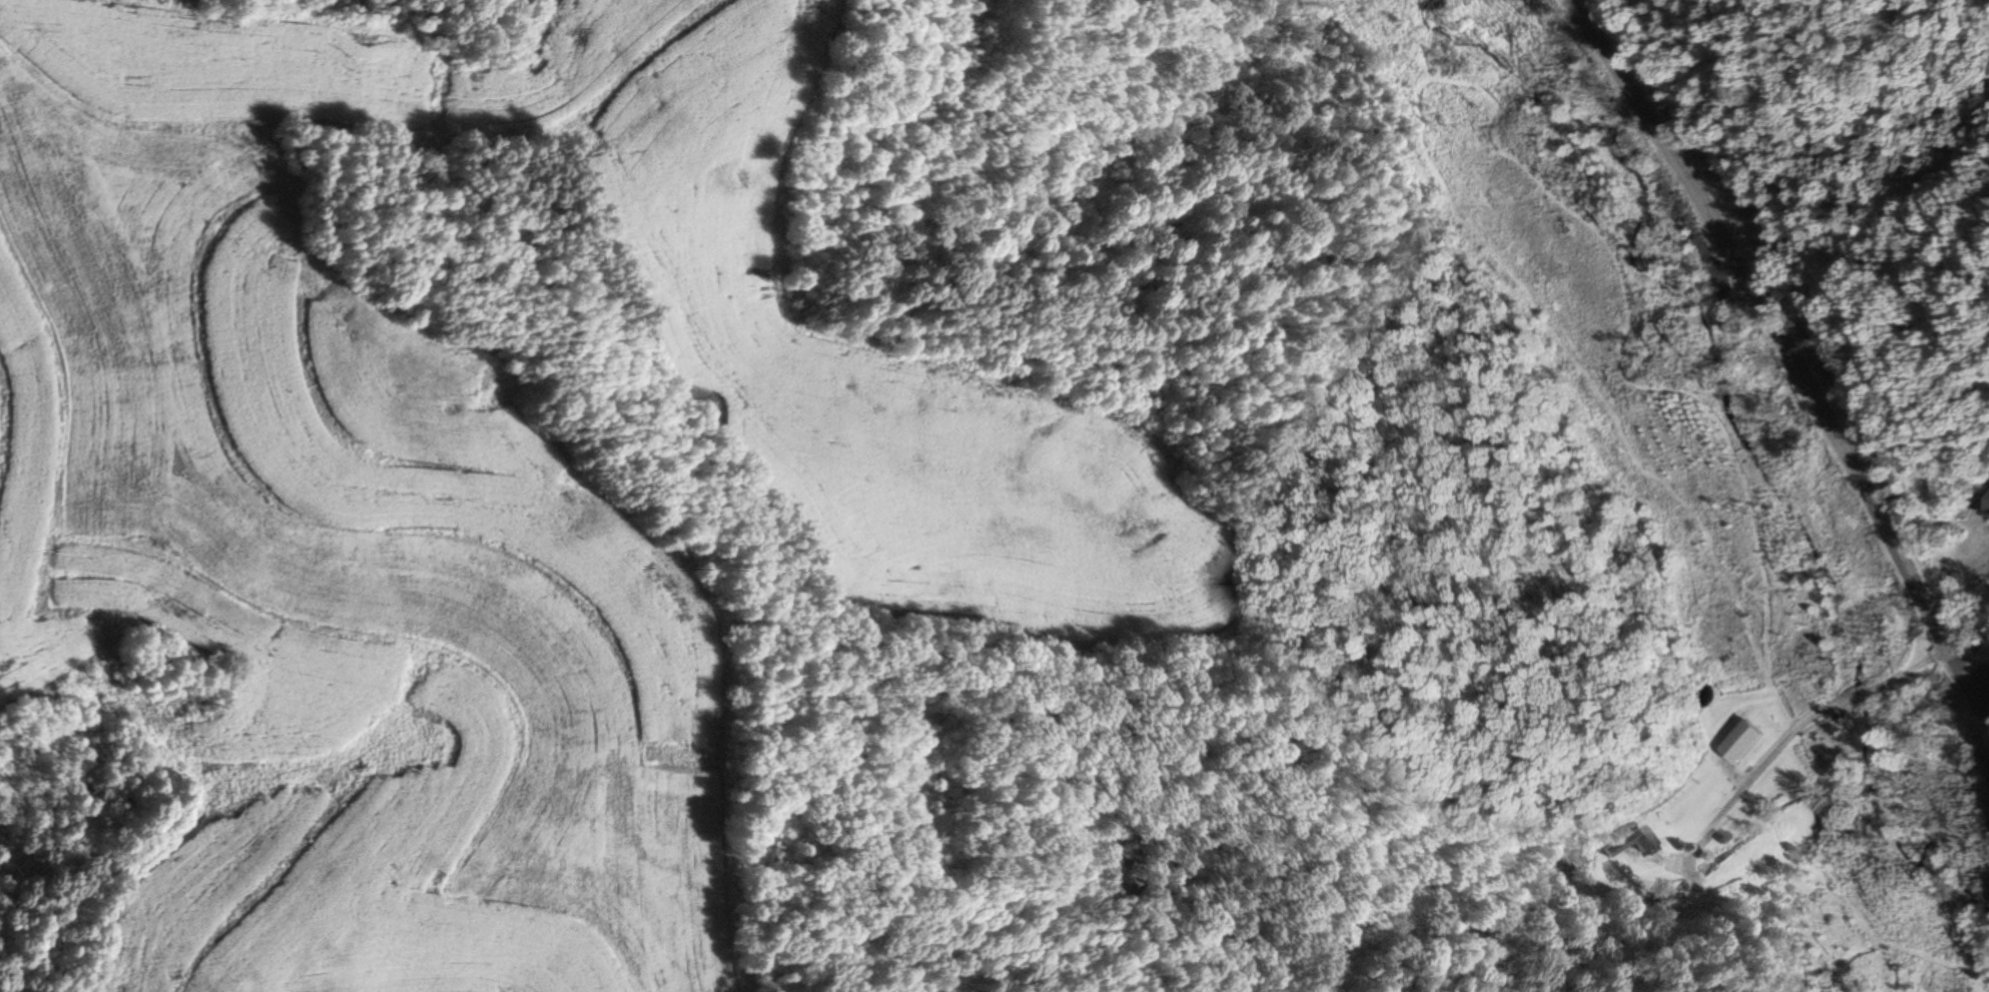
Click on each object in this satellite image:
road: (1789, 352)
building: (1986, 506)
road: (1981, 680)
building: (1740, 742)
building: (1628, 842)

